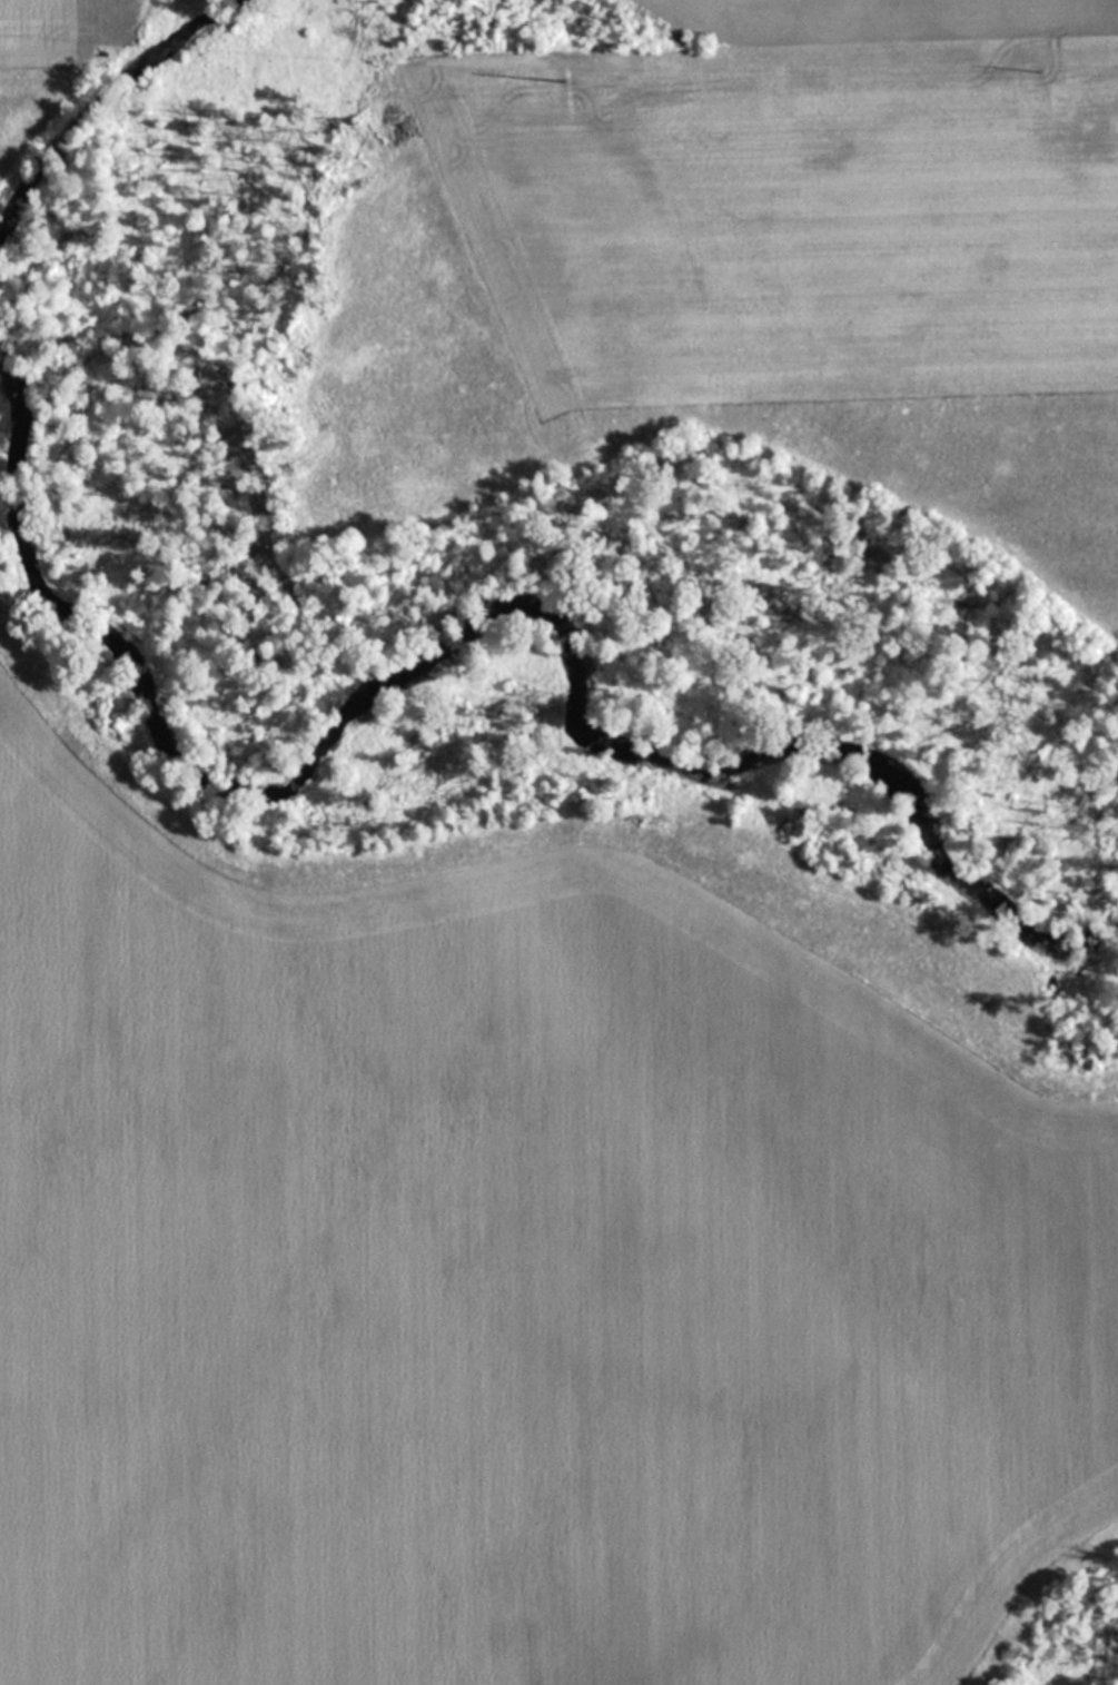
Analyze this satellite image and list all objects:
river: (286, 776)

